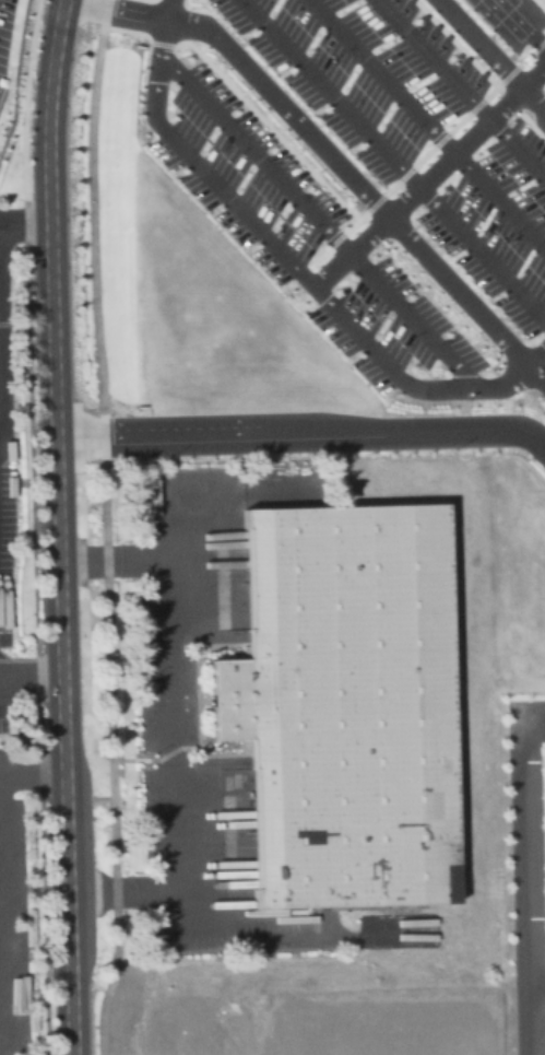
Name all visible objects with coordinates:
road: (522, 23)
road: (490, 56)
road: (462, 86)
road: (49, 110)
road: (427, 124)
road: (327, 151)
road: (393, 159)
road: (242, 174)
road: (435, 188)
road: (24, 223)
road: (329, 228)
road: (293, 263)
road: (26, 320)
road: (407, 348)
road: (2, 360)
road: (303, 442)
road: (106, 527)
road: (83, 561)
road: (61, 638)
road: (32, 678)
building: (342, 710)
road: (169, 725)
road: (143, 761)
road: (33, 772)
road: (91, 798)
road: (528, 875)
road: (36, 889)
road: (93, 892)
road: (3, 928)
road: (537, 976)

